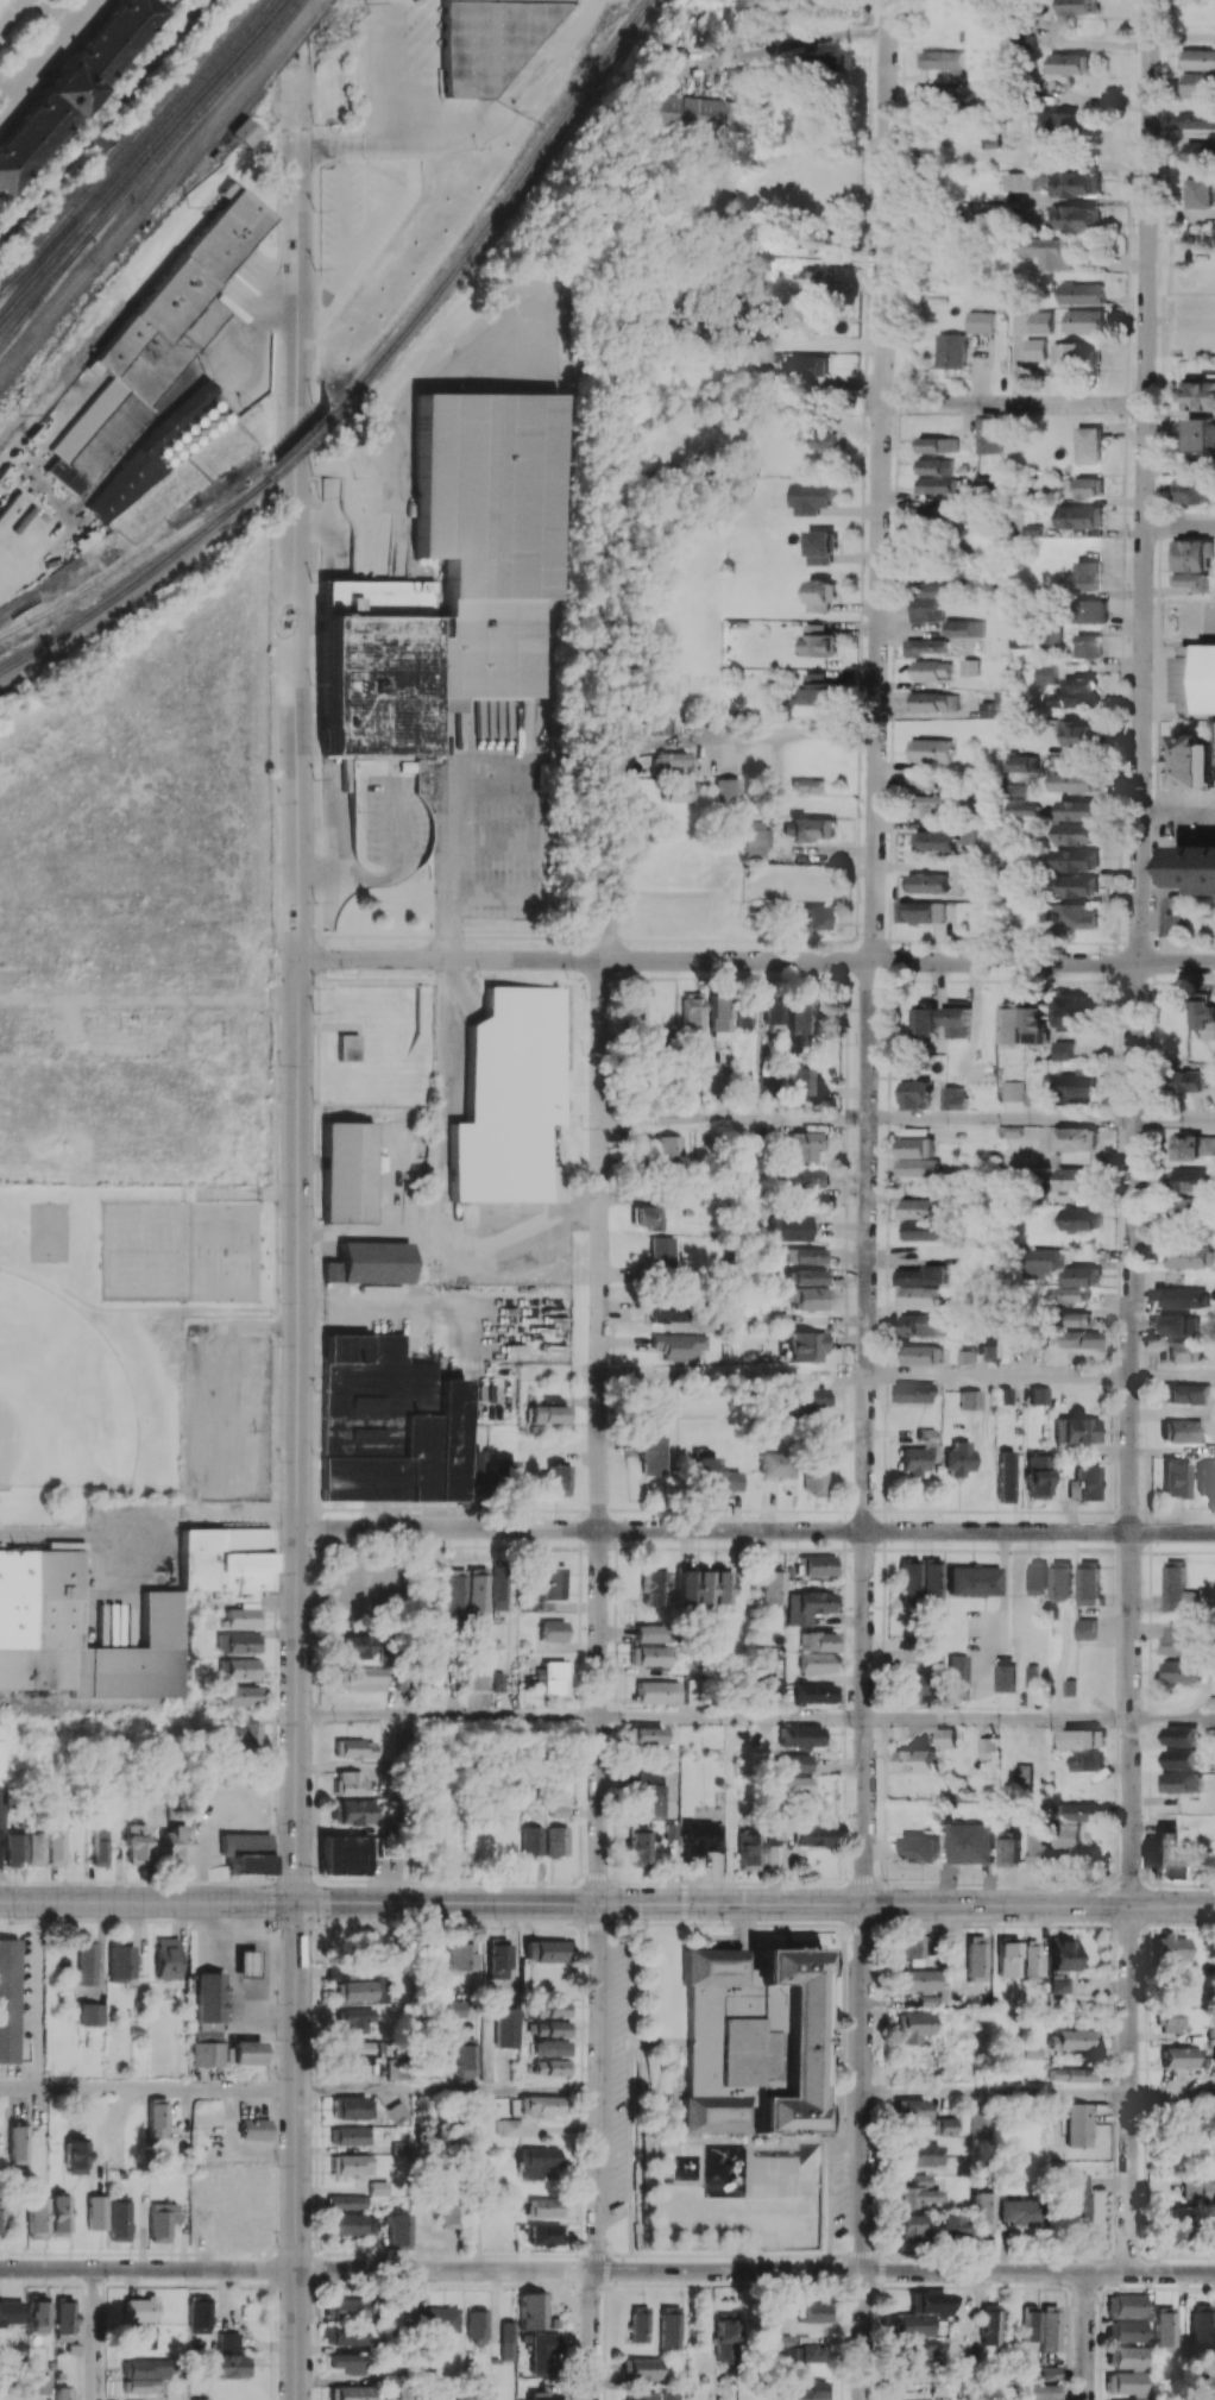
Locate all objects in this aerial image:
railway: (270, 0)
building: (1077, 6)
railway: (276, 8)
road: (11, 13)
railway: (284, 17)
road: (300, 20)
road: (292, 23)
building: (495, 40)
road: (793, 42)
road: (554, 54)
road: (46, 55)
building: (1197, 58)
parking lot: (429, 59)
building: (829, 61)
building: (942, 61)
building: (1070, 63)
building: (1196, 86)
building: (71, 88)
building: (687, 112)
road: (382, 113)
railway: (103, 119)
building: (1195, 120)
building: (1058, 125)
railway: (180, 134)
building: (240, 134)
road: (449, 138)
railway: (127, 145)
power tower: (231, 145)
building: (1200, 151)
railway: (134, 153)
railway: (134, 170)
building: (1019, 182)
building: (1069, 183)
building: (1197, 191)
road: (139, 211)
railway: (501, 211)
parking lot: (365, 213)
building: (1071, 218)
road: (378, 219)
road: (346, 224)
building: (141, 227)
building: (821, 241)
building: (1047, 251)
railway: (38, 257)
building: (817, 277)
parking lot: (247, 284)
railway: (45, 287)
railway: (45, 291)
building: (1081, 293)
building: (813, 304)
building: (980, 321)
building: (1043, 321)
building: (1084, 321)
road: (320, 327)
building: (158, 340)
building: (1035, 348)
building: (951, 351)
building: (1071, 356)
building: (812, 365)
building: (1200, 392)
road: (1012, 402)
building: (214, 404)
storage tank: (214, 404)
building: (206, 411)
storage tank: (206, 411)
building: (224, 417)
storage tank: (224, 417)
building: (197, 420)
storage tank: (197, 420)
building: (215, 425)
storage tank: (215, 425)
building: (189, 428)
storage tank: (189, 428)
building: (207, 432)
storage tank: (207, 432)
building: (989, 434)
building: (1201, 434)
building: (181, 435)
storage tank: (181, 435)
building: (197, 439)
storage tank: (197, 439)
building: (823, 439)
building: (172, 444)
storage tank: (172, 444)
railway: (301, 444)
building: (937, 444)
building: (1088, 445)
building: (189, 446)
storage tank: (189, 446)
building: (164, 451)
storage tank: (164, 451)
building: (181, 453)
storage tank: (181, 453)
building: (147, 457)
building: (171, 460)
storage tank: (171, 460)
building: (932, 465)
building: (936, 485)
building: (1088, 486)
building: (1195, 490)
road: (568, 497)
building: (812, 497)
building: (940, 516)
building: (1079, 517)
road: (1179, 526)
building: (820, 547)
railway: (133, 549)
railway: (145, 553)
building: (1192, 554)
building: (1087, 576)
railway: (139, 579)
building: (454, 579)
building: (1190, 580)
road: (278, 591)
building: (820, 593)
building: (933, 598)
road: (317, 605)
building: (1089, 610)
building: (963, 628)
building: (1052, 639)
building: (818, 641)
building: (1088, 645)
building: (923, 646)
building: (968, 666)
building: (931, 670)
building: (1049, 673)
building: (1205, 678)
building: (1185, 683)
building: (817, 689)
building: (1077, 692)
building: (934, 702)
building: (988, 708)
building: (659, 725)
road: (789, 731)
building: (1076, 733)
building: (928, 749)
building: (1194, 760)
building: (663, 762)
building: (1020, 762)
road: (1139, 766)
building: (924, 779)
building: (1074, 781)
building: (807, 785)
building: (725, 790)
building: (674, 793)
building: (925, 804)
building: (1020, 806)
building: (1077, 810)
building: (812, 828)
building: (1076, 833)
building: (931, 840)
building: (753, 844)
building: (1076, 860)
road: (613, 863)
building: (1196, 868)
road: (392, 874)
building: (927, 882)
building: (1075, 886)
building: (1072, 916)
building: (808, 918)
road: (871, 951)
road: (756, 960)
road: (300, 972)
building: (635, 1011)
building: (1075, 1011)
building: (692, 1013)
building: (772, 1014)
building: (1205, 1014)
building: (802, 1016)
building: (719, 1017)
building: (745, 1017)
building: (926, 1018)
building: (959, 1019)
building: (1009, 1022)
building: (1037, 1023)
building: (347, 1047)
building: (1064, 1050)
building: (1191, 1080)
building: (800, 1081)
building: (1076, 1086)
building: (1013, 1091)
building: (917, 1094)
building: (511, 1095)
building: (956, 1097)
building: (1032, 1097)
road: (736, 1118)
road: (1001, 1120)
road: (1173, 1122)
building: (1074, 1139)
building: (806, 1145)
building: (668, 1146)
building: (1192, 1146)
building: (917, 1167)
building: (348, 1171)
building: (806, 1177)
building: (1191, 1179)
road: (437, 1182)
building: (915, 1207)
building: (1189, 1210)
building: (649, 1217)
building: (1082, 1218)
road: (367, 1226)
building: (791, 1227)
building: (926, 1230)
park: (48, 1231)
road: (277, 1246)
park: (180, 1251)
building: (663, 1251)
building: (805, 1255)
building: (1190, 1256)
building: (1040, 1262)
building: (371, 1265)
building: (918, 1275)
building: (808, 1276)
building: (1078, 1276)
building: (917, 1295)
building: (1071, 1295)
building: (1179, 1296)
building: (810, 1298)
building: (669, 1309)
road: (132, 1311)
building: (1076, 1319)
building: (920, 1324)
building: (1177, 1325)
building: (1081, 1338)
park: (117, 1339)
building: (1020, 1339)
building: (806, 1345)
building: (684, 1346)
building: (990, 1351)
building: (1181, 1351)
building: (921, 1353)
building: (965, 1356)
road: (734, 1374)
road: (999, 1377)
road: (1173, 1378)
building: (912, 1391)
building: (1183, 1393)
building: (1039, 1395)
building: (810, 1396)
park: (63, 1397)
building: (970, 1399)
parking lot: (226, 1406)
building: (548, 1413)
building: (390, 1424)
building: (1077, 1430)
road: (600, 1431)
building: (1179, 1431)
building: (651, 1446)
building: (959, 1457)
building: (914, 1460)
building: (776, 1464)
building: (503, 1472)
building: (814, 1474)
building: (1005, 1476)
building: (1037, 1476)
building: (714, 1477)
building: (1176, 1477)
building: (556, 1479)
building: (1205, 1479)
building: (1084, 1483)
road: (713, 1529)
road: (1172, 1532)
building: (226, 1562)
building: (818, 1565)
building: (932, 1577)
building: (1038, 1577)
building: (909, 1579)
building: (1060, 1579)
building: (972, 1581)
building: (1088, 1582)
building: (552, 1583)
building: (685, 1584)
building: (653, 1585)
building: (773, 1585)
building: (499, 1587)
building: (704, 1587)
building: (720, 1587)
building: (465, 1591)
road: (275, 1595)
building: (539, 1606)
building: (807, 1606)
building: (243, 1617)
building: (1087, 1628)
building: (552, 1631)
building: (78, 1633)
building: (650, 1633)
building: (1181, 1640)
building: (818, 1641)
building: (238, 1642)
building: (355, 1646)
building: (649, 1656)
building: (816, 1663)
building: (239, 1669)
building: (1178, 1670)
building: (476, 1677)
building: (549, 1677)
building: (957, 1677)
building: (1003, 1677)
building: (363, 1678)
building: (497, 1680)
building: (768, 1680)
building: (913, 1684)
building: (657, 1691)
building: (816, 1694)
building: (241, 1695)
road: (149, 1715)
road: (449, 1716)
road: (665, 1717)
road: (1131, 1719)
road: (798, 1720)
road: (997, 1721)
road: (1172, 1721)
building: (240, 1734)
building: (1179, 1735)
building: (799, 1736)
building: (944, 1736)
building: (644, 1738)
building: (1083, 1738)
building: (987, 1747)
building: (355, 1748)
building: (1179, 1758)
building: (914, 1759)
building: (1087, 1761)
building: (792, 1763)
building: (650, 1773)
building: (1021, 1773)
building: (1183, 1782)
building: (350, 1783)
building: (793, 1785)
building: (1, 1790)
building: (650, 1801)
building: (353, 1811)
road: (729, 1811)
building: (1078, 1811)
building: (810, 1835)
building: (698, 1837)
building: (1065, 1837)
building: (530, 1841)
building: (556, 1841)
building: (969, 1842)
building: (100, 1843)
building: (136, 1843)
building: (56, 1845)
building: (175, 1845)
building: (1037, 1845)
building: (36, 1846)
building: (636, 1847)
building: (919, 1848)
building: (1007, 1848)
building: (15, 1849)
building: (748, 1851)
building: (246, 1852)
building: (344, 1854)
building: (1164, 1854)
traffic signals: (298, 1902)
road: (607, 1903)
traffic signals: (687, 1903)
road: (229, 1939)
road: (258, 1944)
building: (909, 1946)
building: (1171, 1949)
building: (543, 1950)
building: (458, 1956)
building: (1008, 1956)
building: (168, 1958)
building: (497, 1958)
building: (976, 1958)
building: (1031, 1958)
building: (87, 1962)
building: (121, 1962)
building: (246, 1962)
building: (1060, 1964)
building: (340, 1972)
building: (914, 1980)
road: (263, 1987)
building: (354, 1991)
building: (380, 1992)
road: (37, 1994)
building: (208, 1997)
building: (8, 2002)
building: (455, 2009)
building: (548, 2009)
building: (92, 2013)
building: (355, 2018)
building: (1171, 2022)
building: (914, 2025)
building: (504, 2027)
building: (546, 2028)
building: (751, 2037)
building: (1074, 2042)
building: (549, 2048)
building: (358, 2052)
building: (245, 2053)
building: (206, 2054)
building: (466, 2056)
building: (1181, 2056)
building: (549, 2067)
building: (391, 2068)
building: (1071, 2074)
road: (599, 2086)
road: (1129, 2087)
road: (149, 2088)
road: (448, 2091)
road: (996, 2093)
building: (540, 2105)
building: (352, 2107)
building: (912, 2109)
building: (398, 2111)
building: (157, 2117)
building: (980, 2122)
building: (1077, 2124)
building: (945, 2125)
building: (508, 2128)
building: (254, 2129)
building: (350, 2136)
building: (18, 2143)
building: (401, 2147)
road: (297, 2150)
road: (864, 2151)
building: (920, 2154)
building: (74, 2156)
building: (539, 2162)
building: (350, 2165)
building: (1200, 2189)
building: (917, 2193)
building: (1076, 2199)
building: (346, 2201)
building: (544, 2206)
building: (983, 2210)
building: (1018, 2211)
building: (95, 2212)
building: (449, 2212)
building: (57, 2214)
building: (36, 2217)
building: (118, 2219)
building: (160, 2220)
building: (1176, 2222)
building: (344, 2224)
building: (953, 2226)
building: (913, 2229)
building: (399, 2230)
building: (546, 2233)
road: (149, 2268)
road: (756, 2270)
building: (1126, 2305)
building: (138, 2308)
building: (345, 2308)
building: (402, 2308)
building: (531, 2311)
building: (10, 2312)
building: (810, 2312)
building: (919, 2313)
building: (199, 2314)
building: (37, 2317)
building: (64, 2319)
building: (437, 2319)
building: (640, 2324)
building: (990, 2324)
building: (477, 2325)
building: (1201, 2325)
building: (669, 2326)
building: (1030, 2326)
building: (1050, 2329)
building: (1165, 2329)
building: (1125, 2331)
road: (95, 2333)
building: (345, 2335)
road: (592, 2335)
road: (1087, 2336)
building: (139, 2337)
building: (725, 2337)
building: (228, 2341)
building: (508, 2341)
building: (782, 2341)
building: (915, 2346)
building: (802, 2352)
building: (543, 2354)
building: (1125, 2357)
building: (346, 2363)
building: (231, 2366)
building: (145, 2368)
building: (640, 2369)
building: (919, 2369)
building: (1050, 2371)
building: (1125, 2382)
building: (38, 2383)
building: (144, 2385)
building: (807, 2389)
building: (350, 2392)
building: (1041, 2392)
building: (63, 2393)
building: (671, 2394)
building: (641, 2395)

